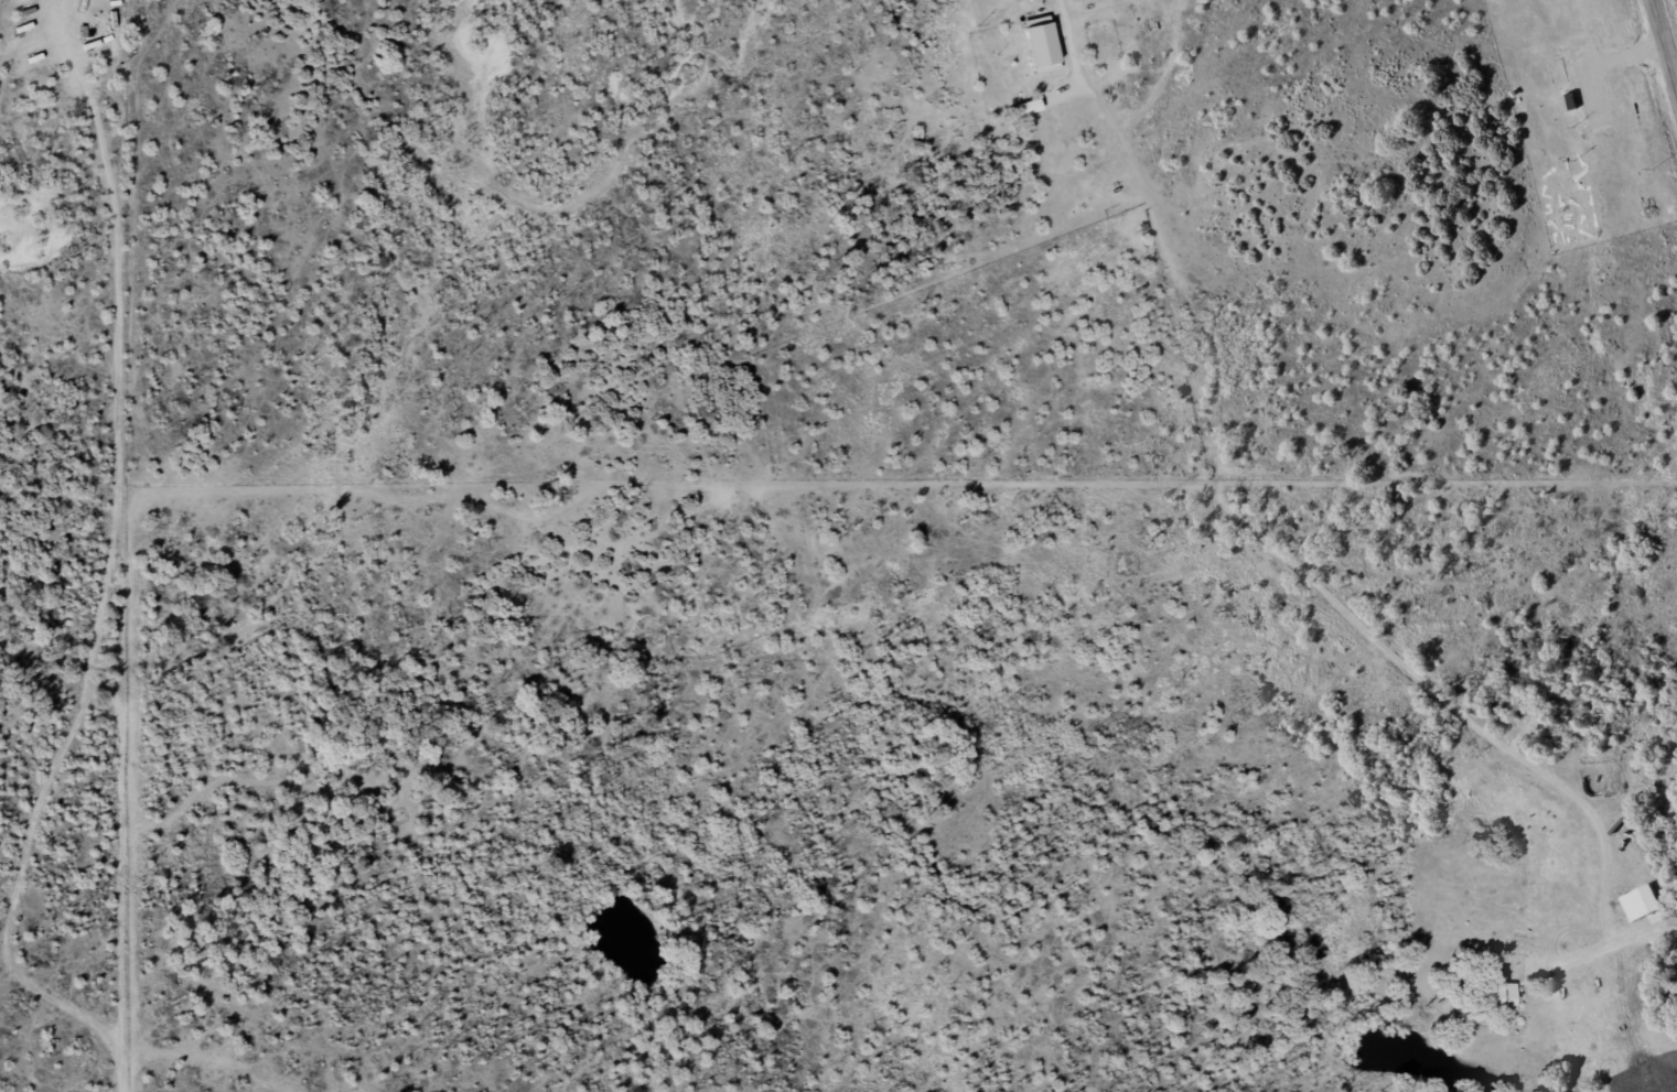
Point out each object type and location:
road: (1673, 12)
building: (1640, 907)
building: (1497, 1003)

